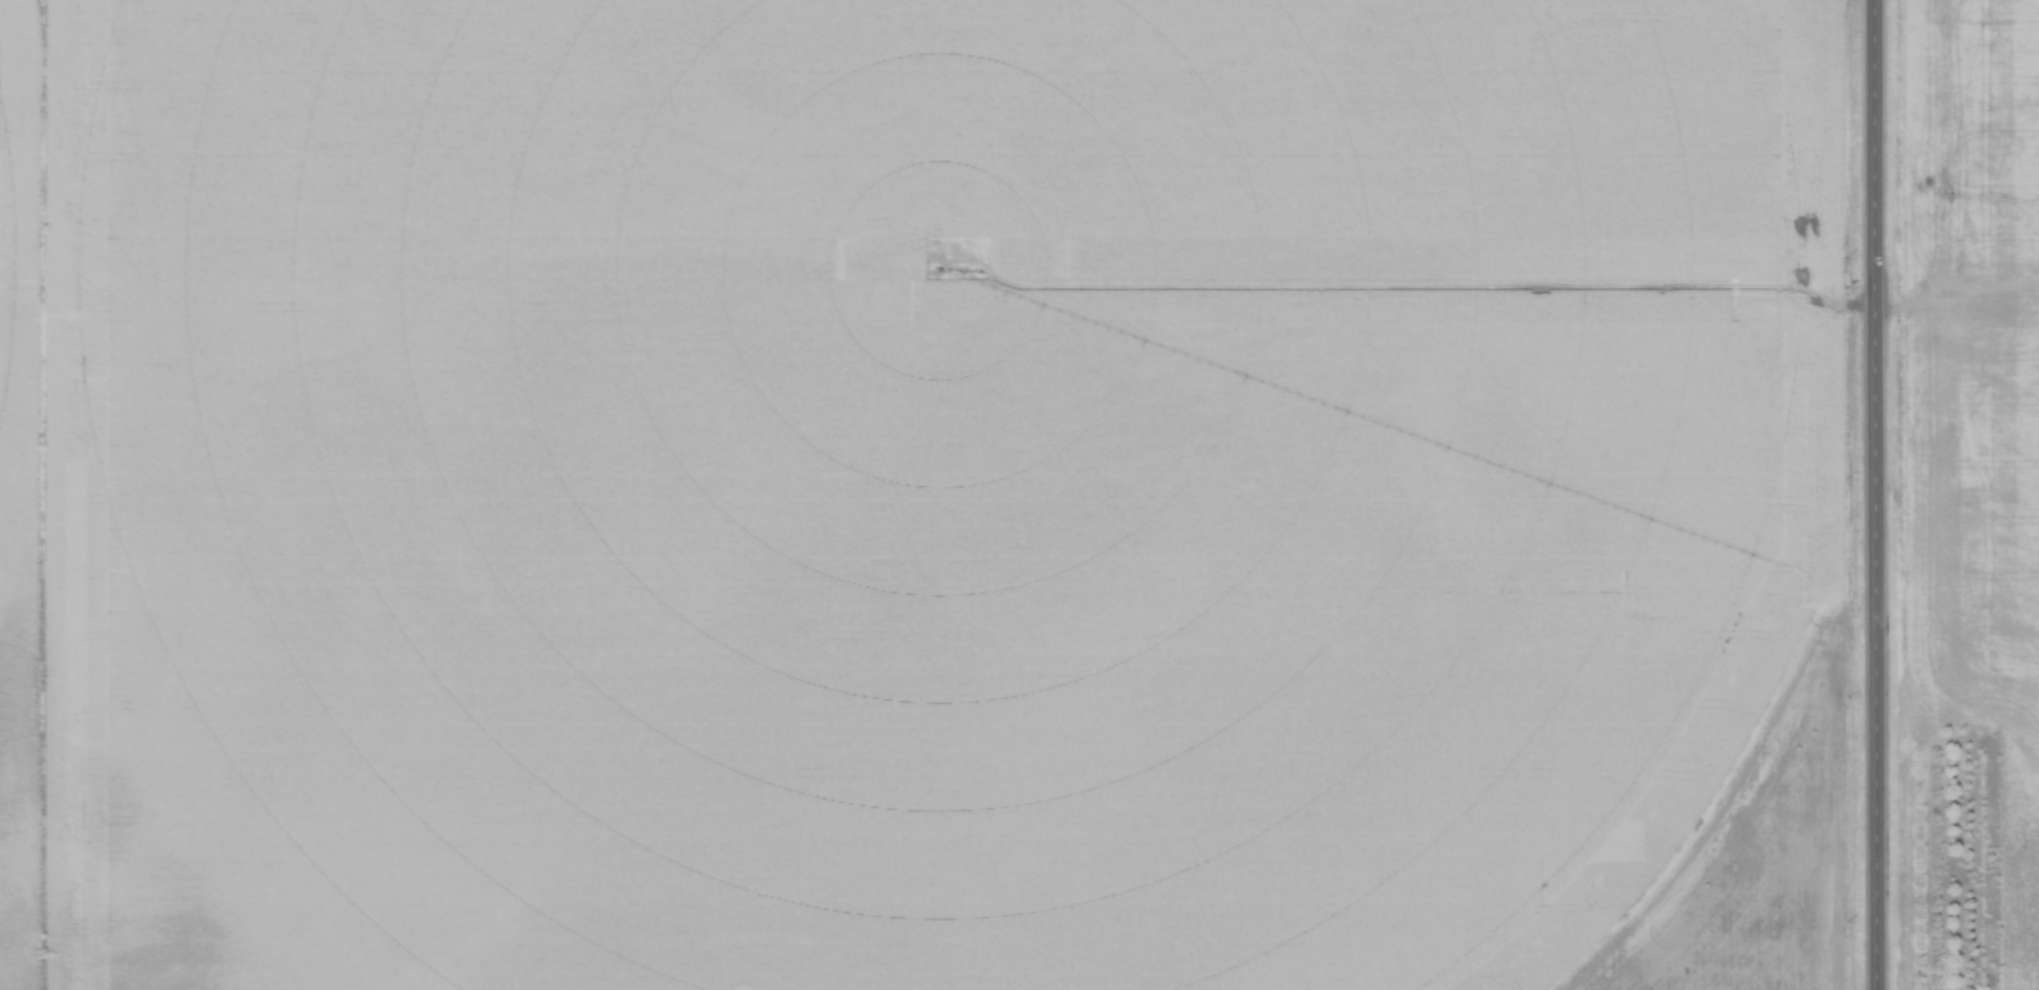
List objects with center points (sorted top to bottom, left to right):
road: (1875, 494)

